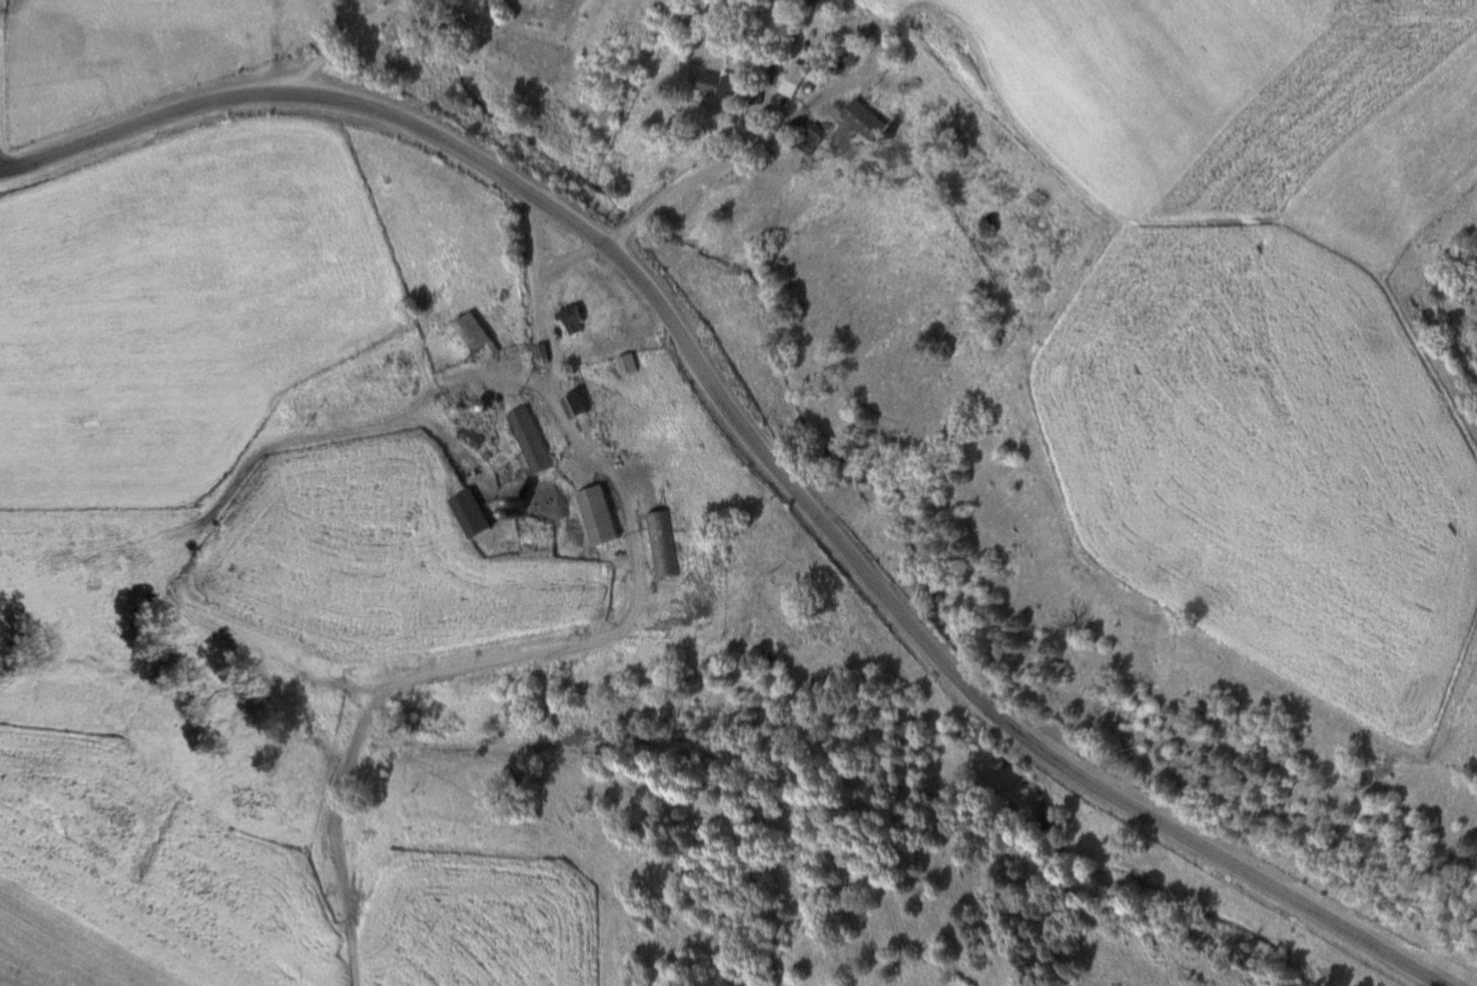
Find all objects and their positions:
building: (829, 6)
building: (857, 55)
building: (773, 76)
building: (798, 78)
building: (712, 84)
building: (869, 117)
building: (824, 132)
road: (762, 145)
road: (533, 274)
building: (567, 318)
building: (583, 320)
building: (459, 338)
building: (622, 362)
building: (634, 364)
road: (551, 373)
road: (747, 436)
building: (520, 439)
building: (535, 441)
building: (460, 511)
building: (583, 512)
building: (479, 513)
building: (607, 516)
building: (651, 541)
building: (669, 545)
road: (442, 671)

